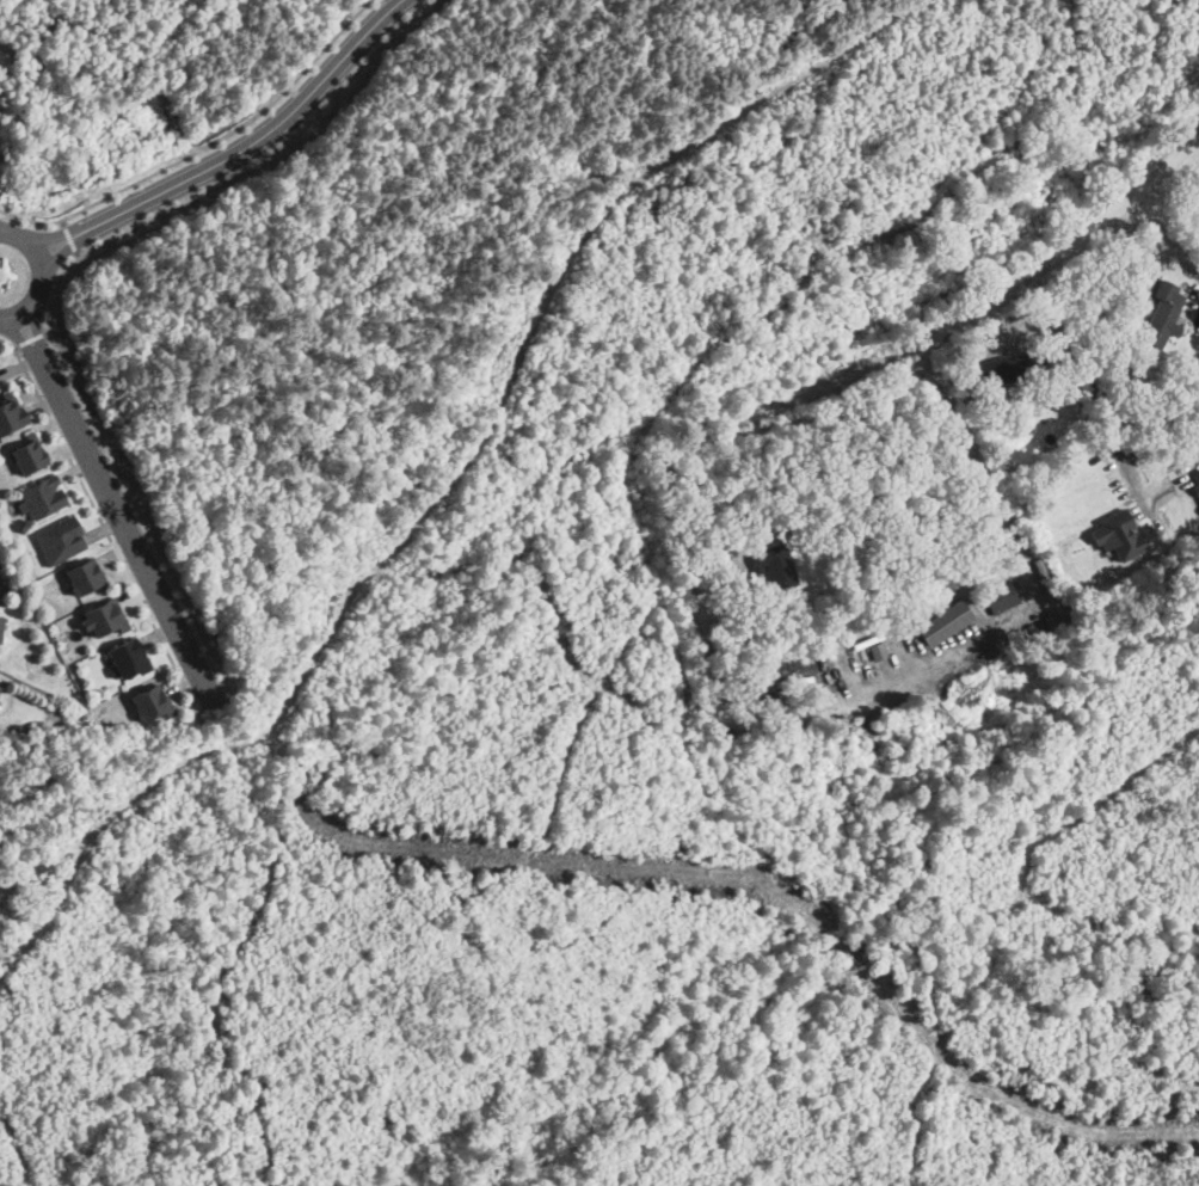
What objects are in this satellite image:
road: (203, 146)
road: (234, 150)
road: (70, 238)
road: (1065, 248)
road: (41, 274)
road: (61, 275)
building: (1163, 314)
road: (30, 338)
building: (1006, 365)
road: (1093, 383)
building: (11, 413)
building: (27, 453)
building: (1195, 480)
building: (42, 496)
road: (116, 509)
road: (104, 526)
building: (1118, 534)
building: (61, 537)
road: (841, 539)
building: (775, 564)
building: (85, 574)
building: (1001, 596)
building: (102, 617)
building: (945, 621)
building: (1, 629)
building: (127, 657)
building: (0, 686)
building: (149, 703)
road: (763, 721)

